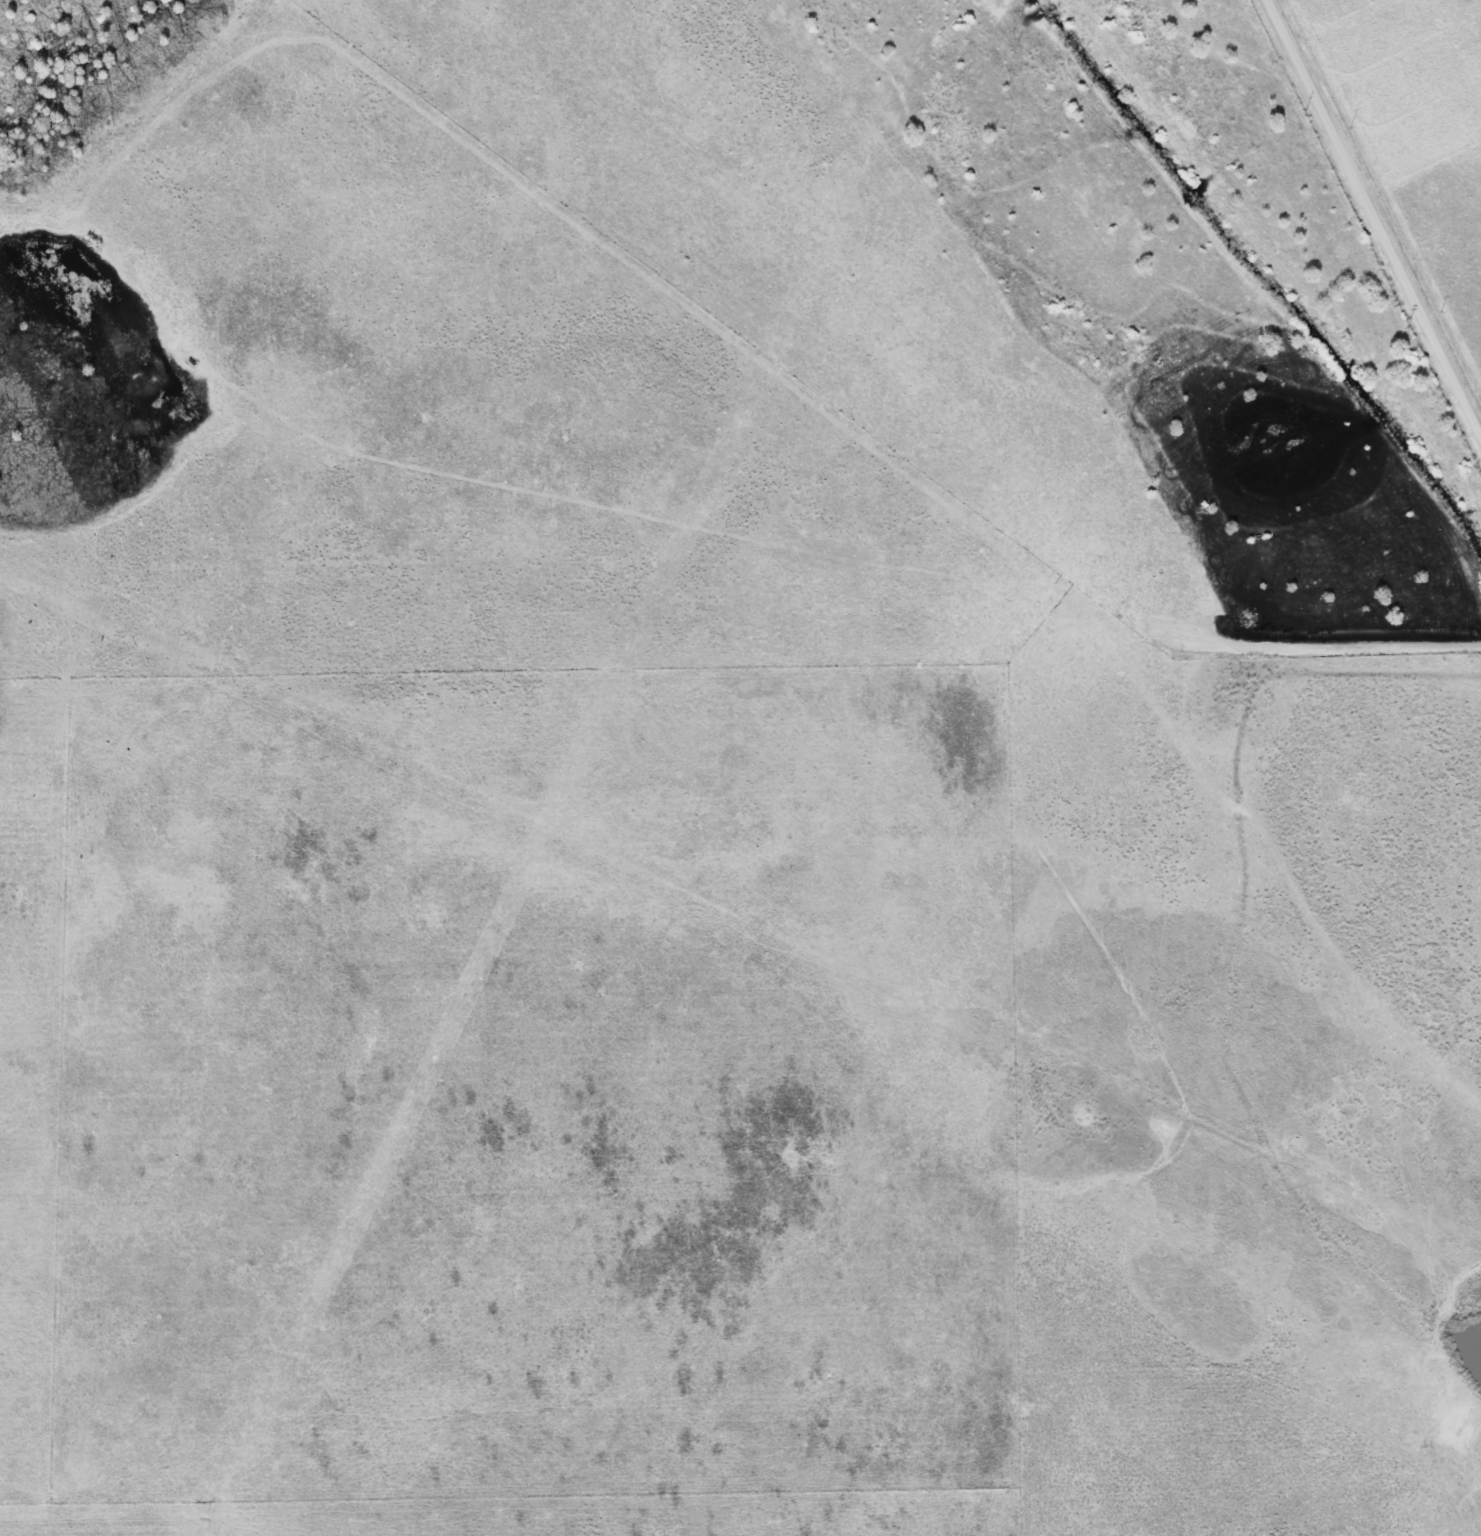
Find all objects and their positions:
road: (1373, 220)

